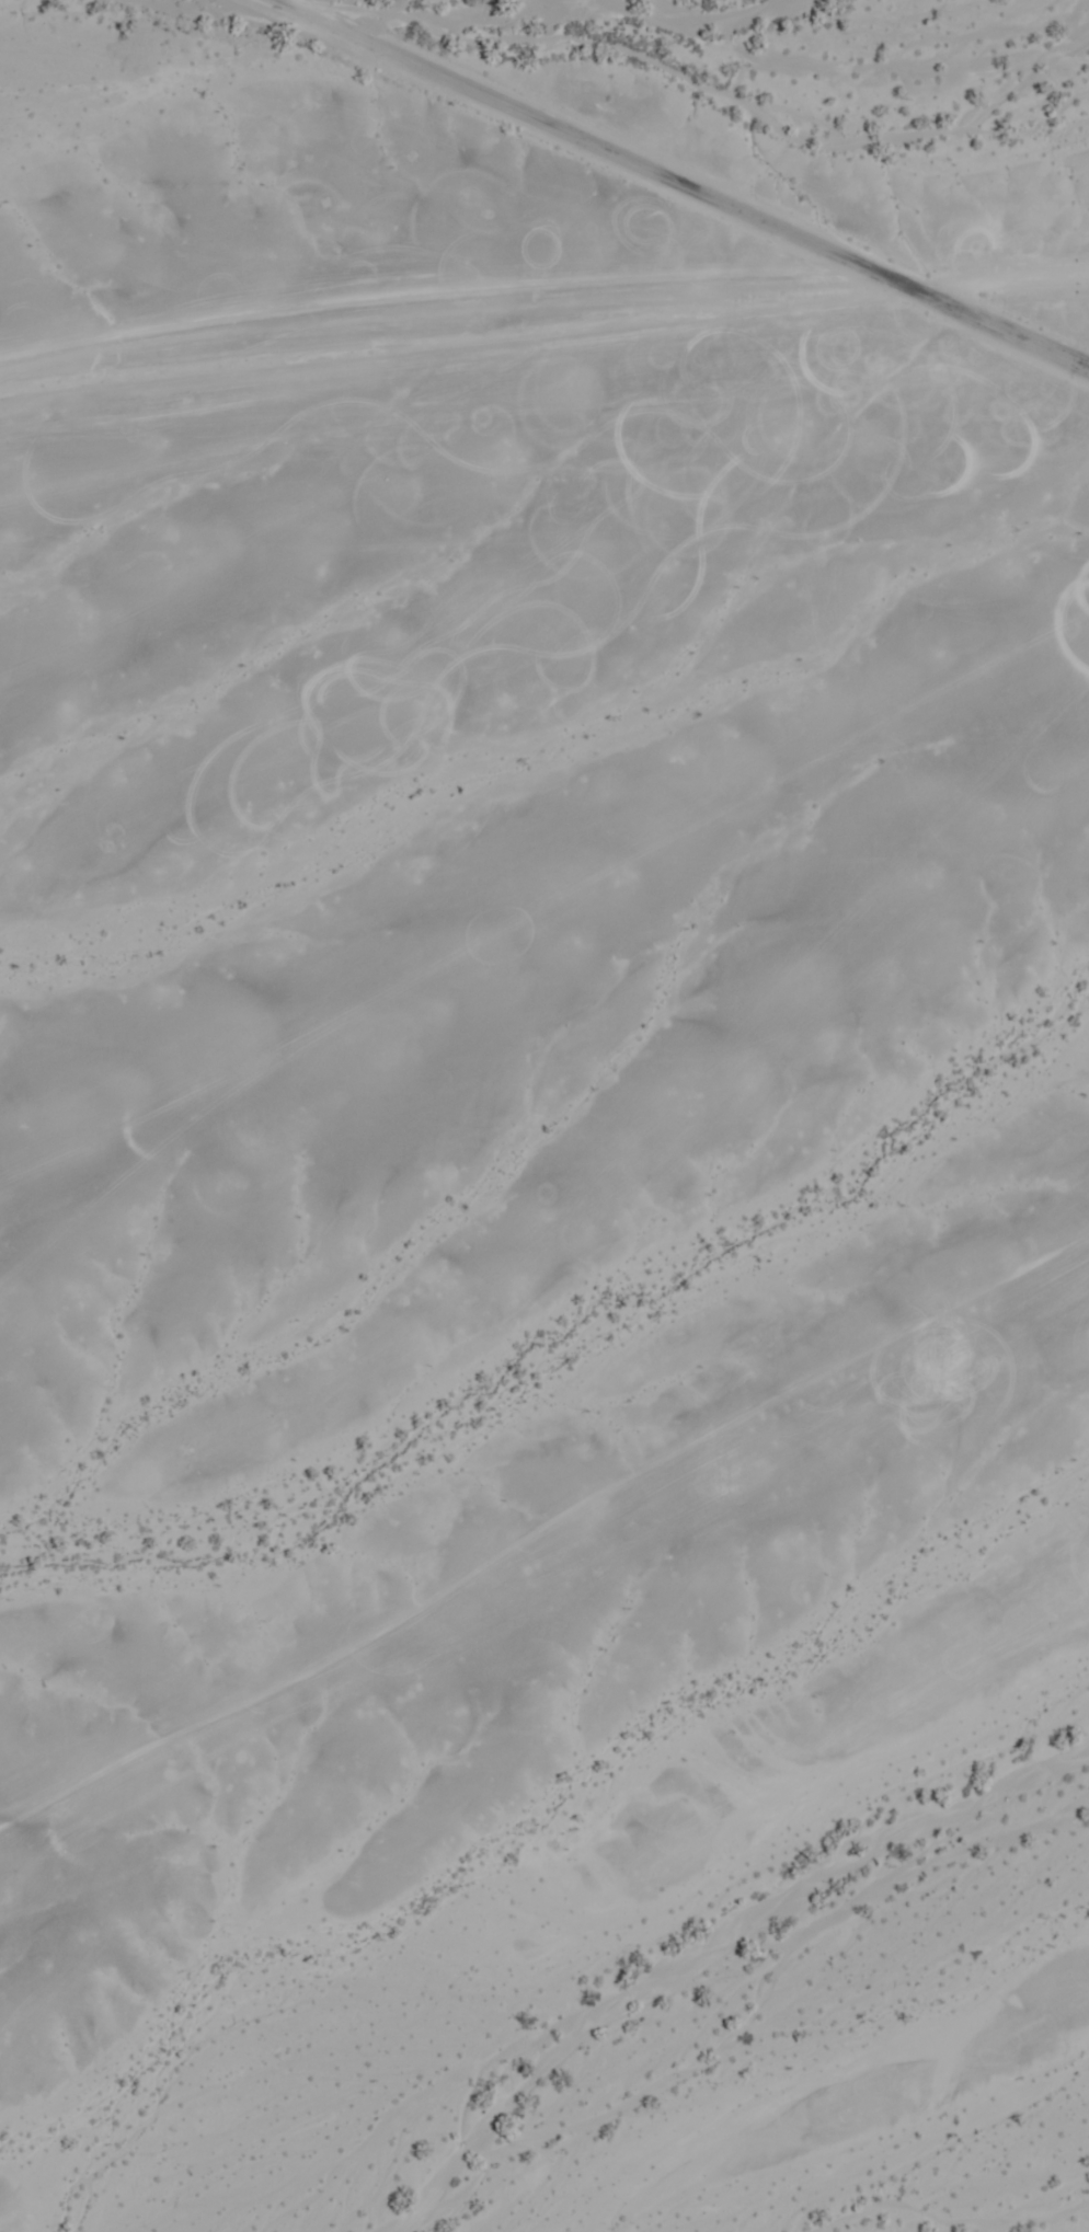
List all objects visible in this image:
road: (677, 183)
road: (543, 299)

